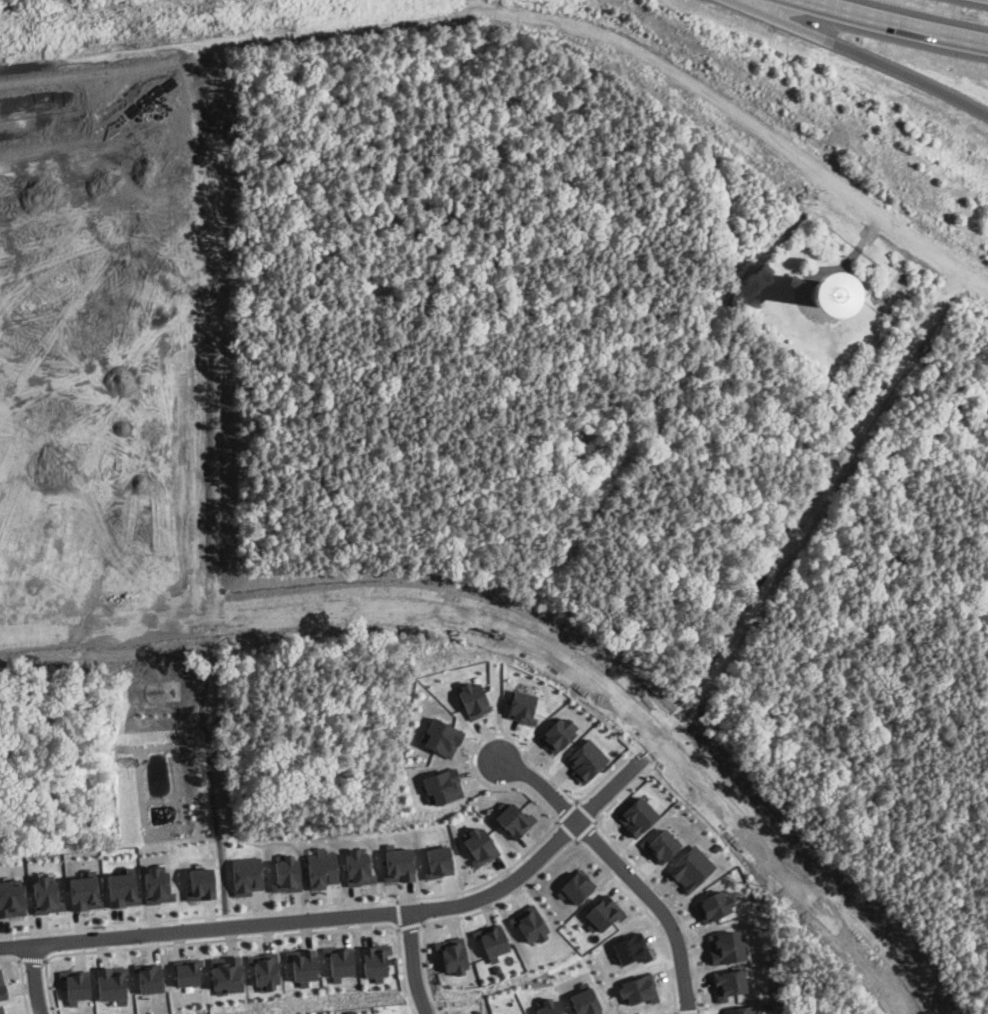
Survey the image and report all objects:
road: (532, 13)
road: (899, 23)
road: (864, 53)
road: (6, 232)
road: (206, 283)
water tower: (823, 293)
road: (100, 391)
road: (810, 506)
road: (2, 536)
road: (348, 609)
building: (472, 697)
building: (522, 706)
building: (557, 734)
building: (440, 736)
road: (650, 747)
road: (207, 757)
building: (586, 759)
building: (441, 785)
road: (623, 791)
road: (567, 810)
road: (586, 810)
building: (637, 815)
building: (512, 818)
road: (585, 829)
road: (567, 830)
building: (478, 844)
building: (661, 844)
building: (437, 859)
building: (397, 862)
building: (321, 867)
building: (357, 867)
road: (621, 867)
building: (690, 867)
building: (286, 873)
road: (786, 873)
building: (246, 874)
building: (200, 883)
building: (156, 885)
building: (575, 886)
building: (121, 888)
road: (463, 890)
building: (83, 892)
building: (45, 895)
road: (507, 897)
building: (11, 898)
road: (673, 904)
building: (713, 904)
road: (398, 912)
building: (603, 912)
road: (647, 912)
road: (349, 916)
building: (529, 923)
road: (410, 924)
road: (398, 929)
building: (491, 938)
road: (193, 940)
building: (725, 946)
building: (630, 947)
building: (452, 954)
road: (30, 958)
building: (373, 960)
building: (338, 961)
road: (412, 963)
building: (301, 964)
road: (424, 968)
building: (264, 969)
building: (186, 971)
building: (226, 973)
road: (401, 973)
building: (149, 976)
road: (21, 977)
road: (30, 978)
building: (728, 982)
building: (111, 983)
building: (75, 984)
building: (2, 987)
building: (638, 988)
building: (585, 999)
building: (547, 1005)
road: (688, 1009)
building: (741, 1009)
building: (1, 1010)
road: (669, 1012)
road: (675, 1012)

